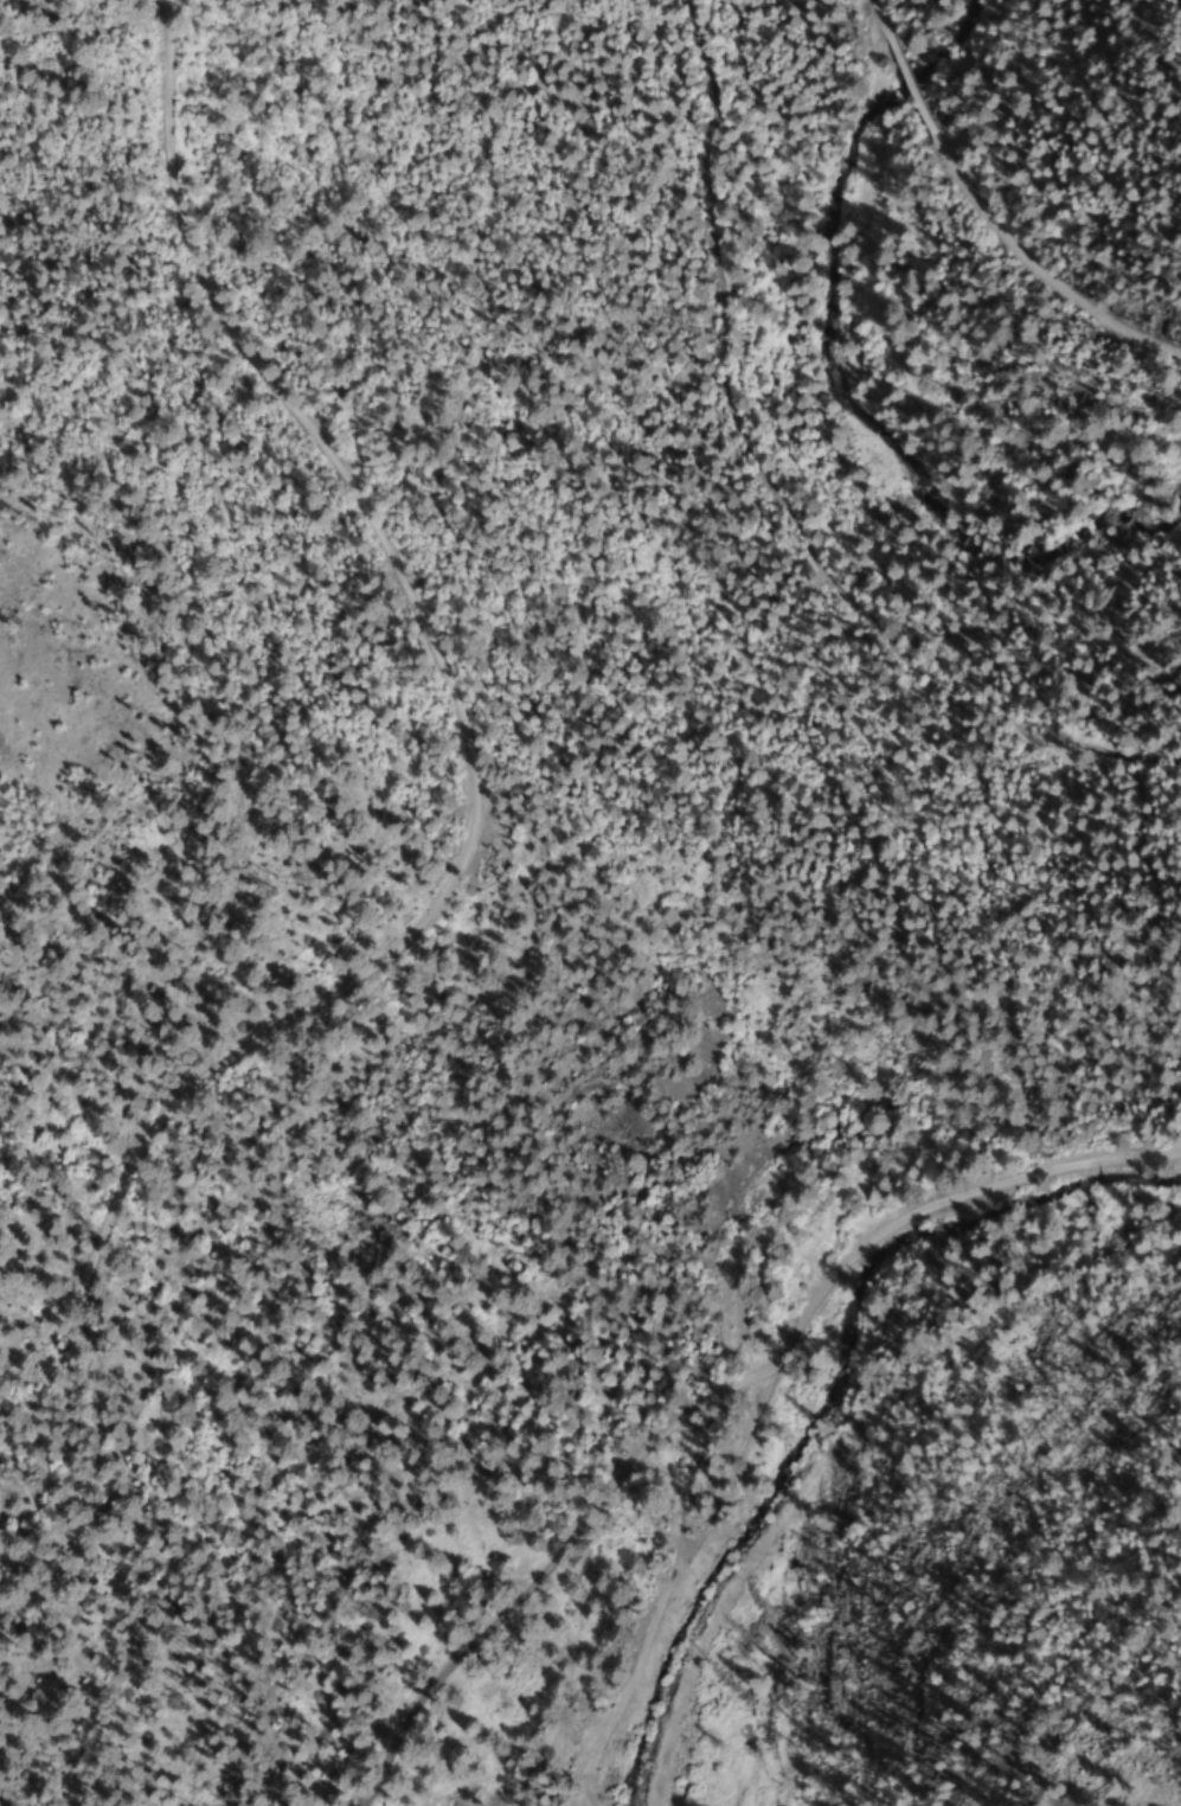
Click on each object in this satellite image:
road: (874, 17)
road: (909, 88)
road: (1041, 265)
road: (466, 744)
road: (718, 1397)
road: (670, 1580)

